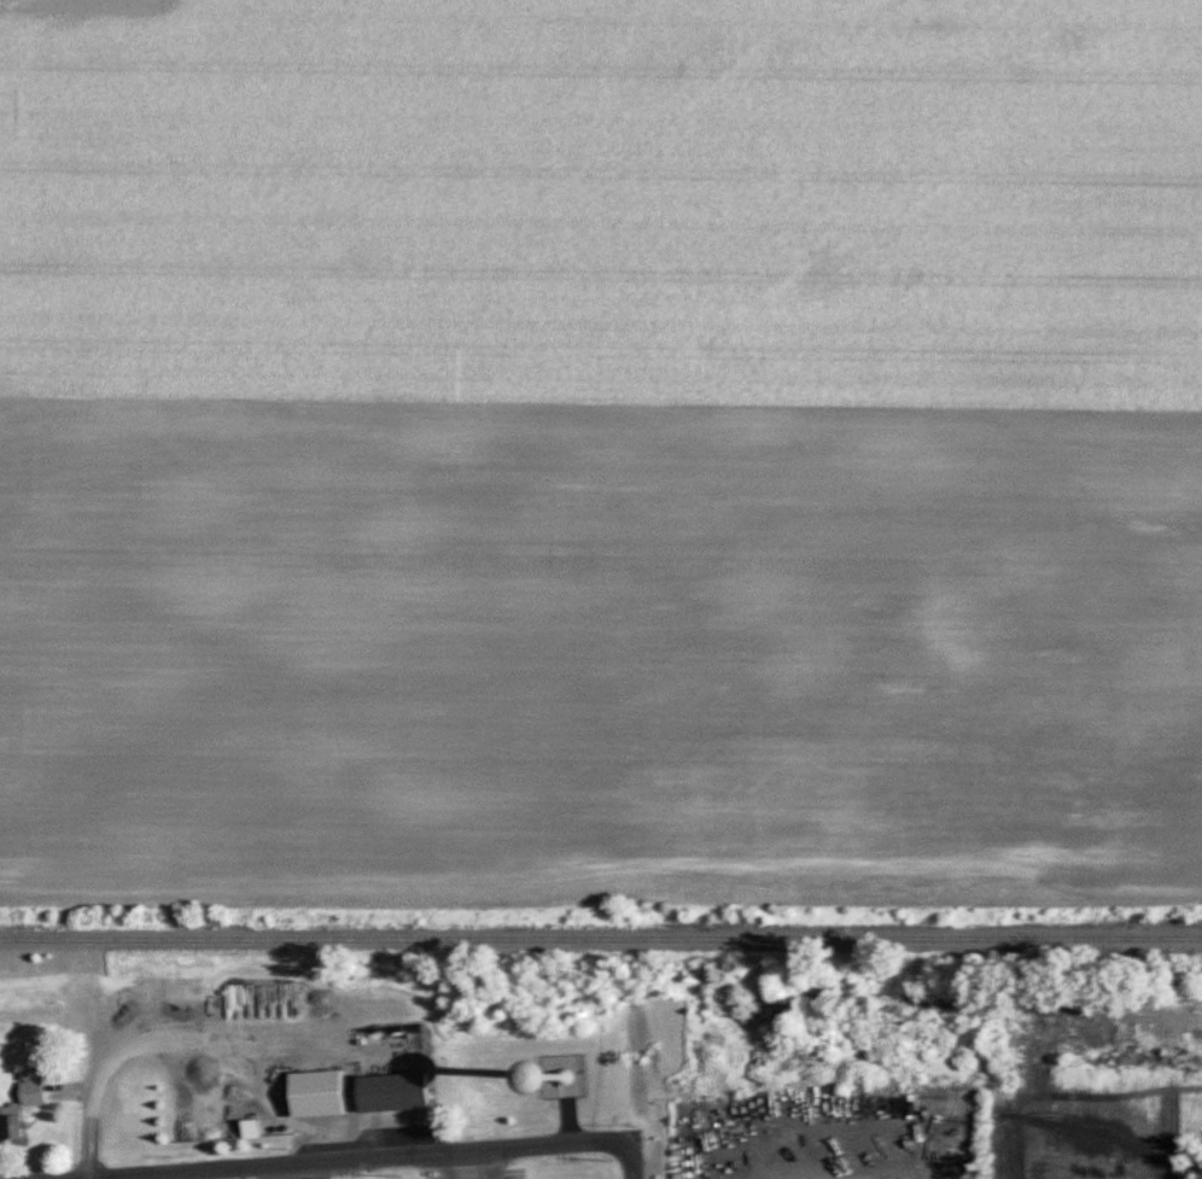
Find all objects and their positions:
railway: (51, 940)
railway: (652, 940)
water tower: (573, 1086)
building: (398, 1095)
building: (322, 1097)
building: (24, 1113)
road: (94, 1114)
building: (255, 1131)
road: (366, 1158)
road: (636, 1161)

